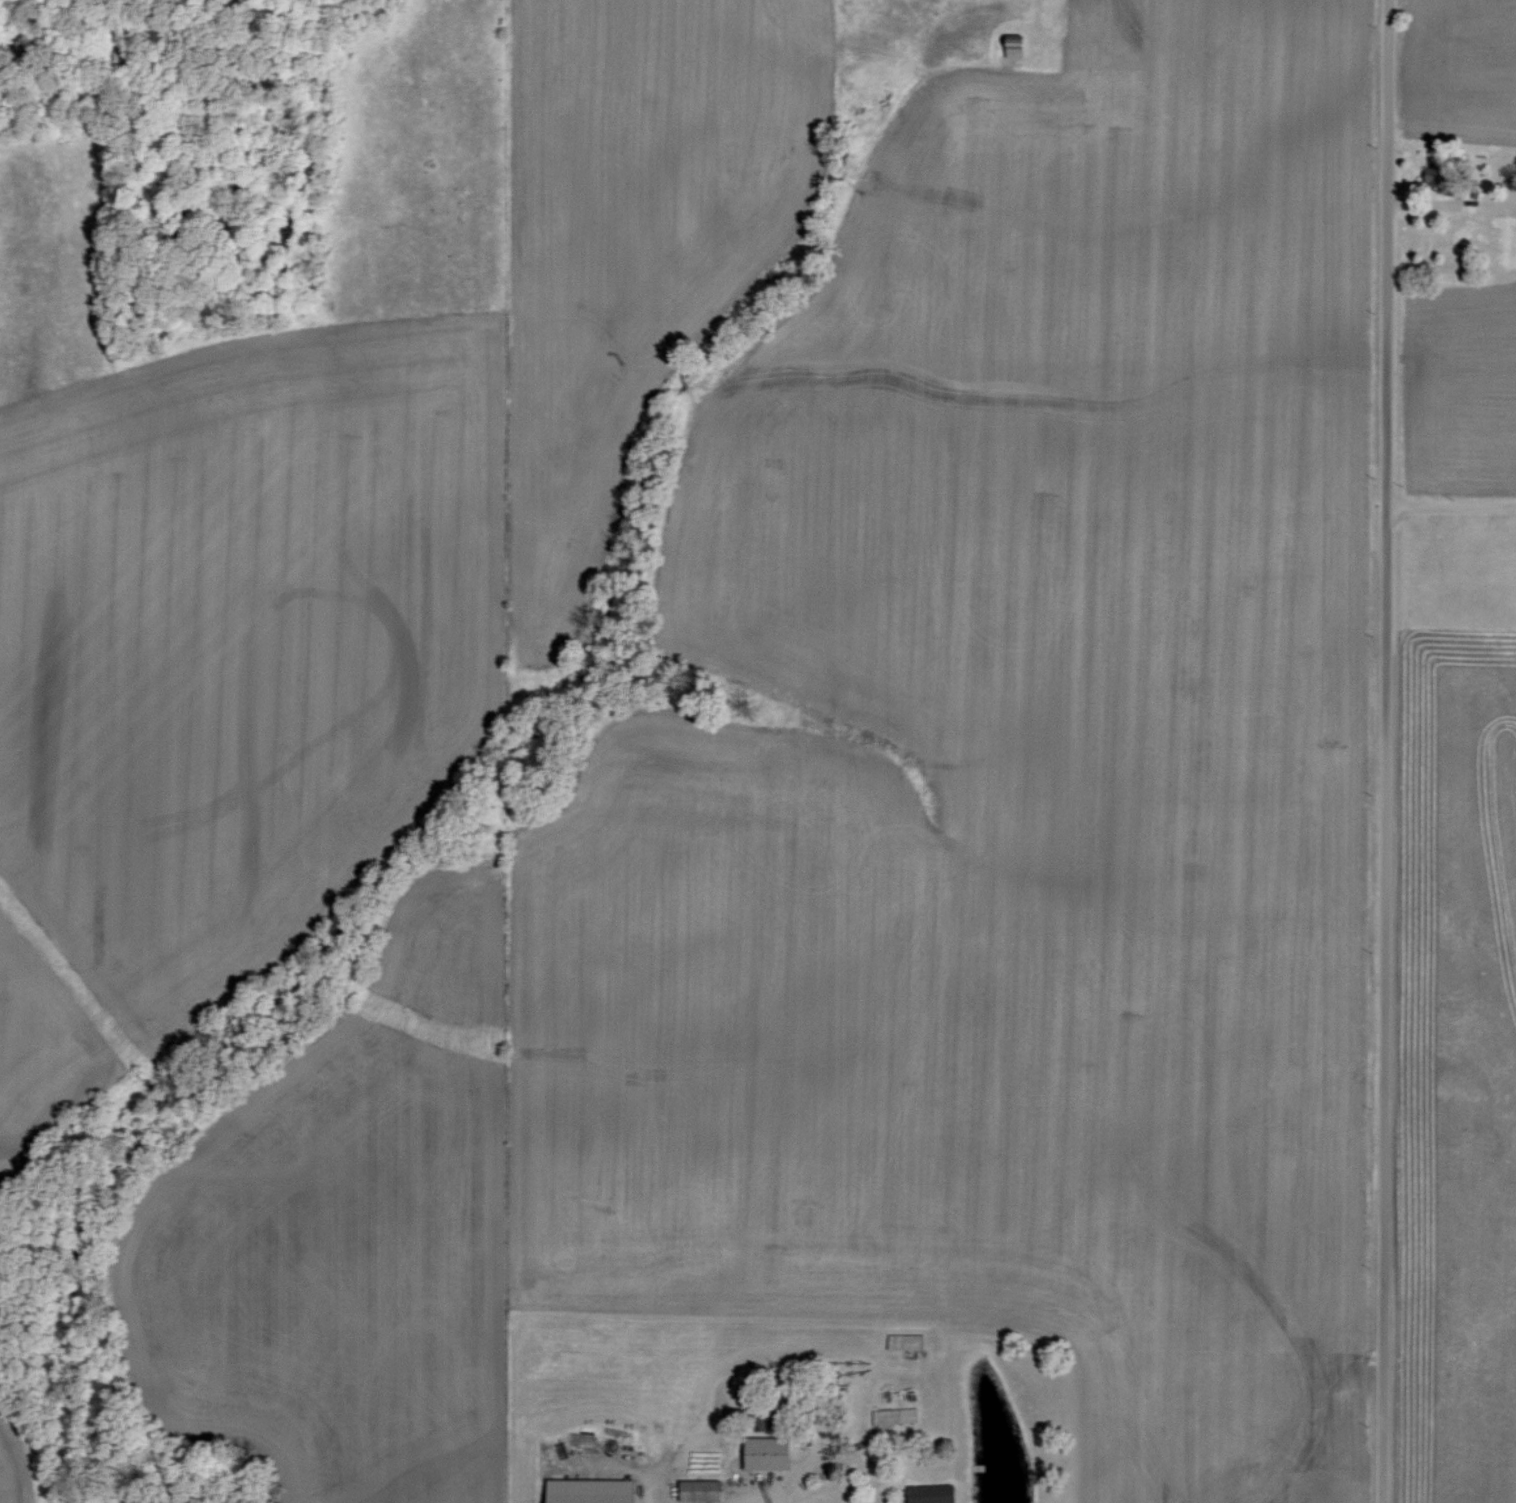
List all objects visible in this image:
building: (1426, 176)
road: (1450, 507)
road: (1384, 751)
building: (755, 1422)
building: (762, 1453)
building: (694, 1490)
building: (582, 1491)
building: (926, 1493)

